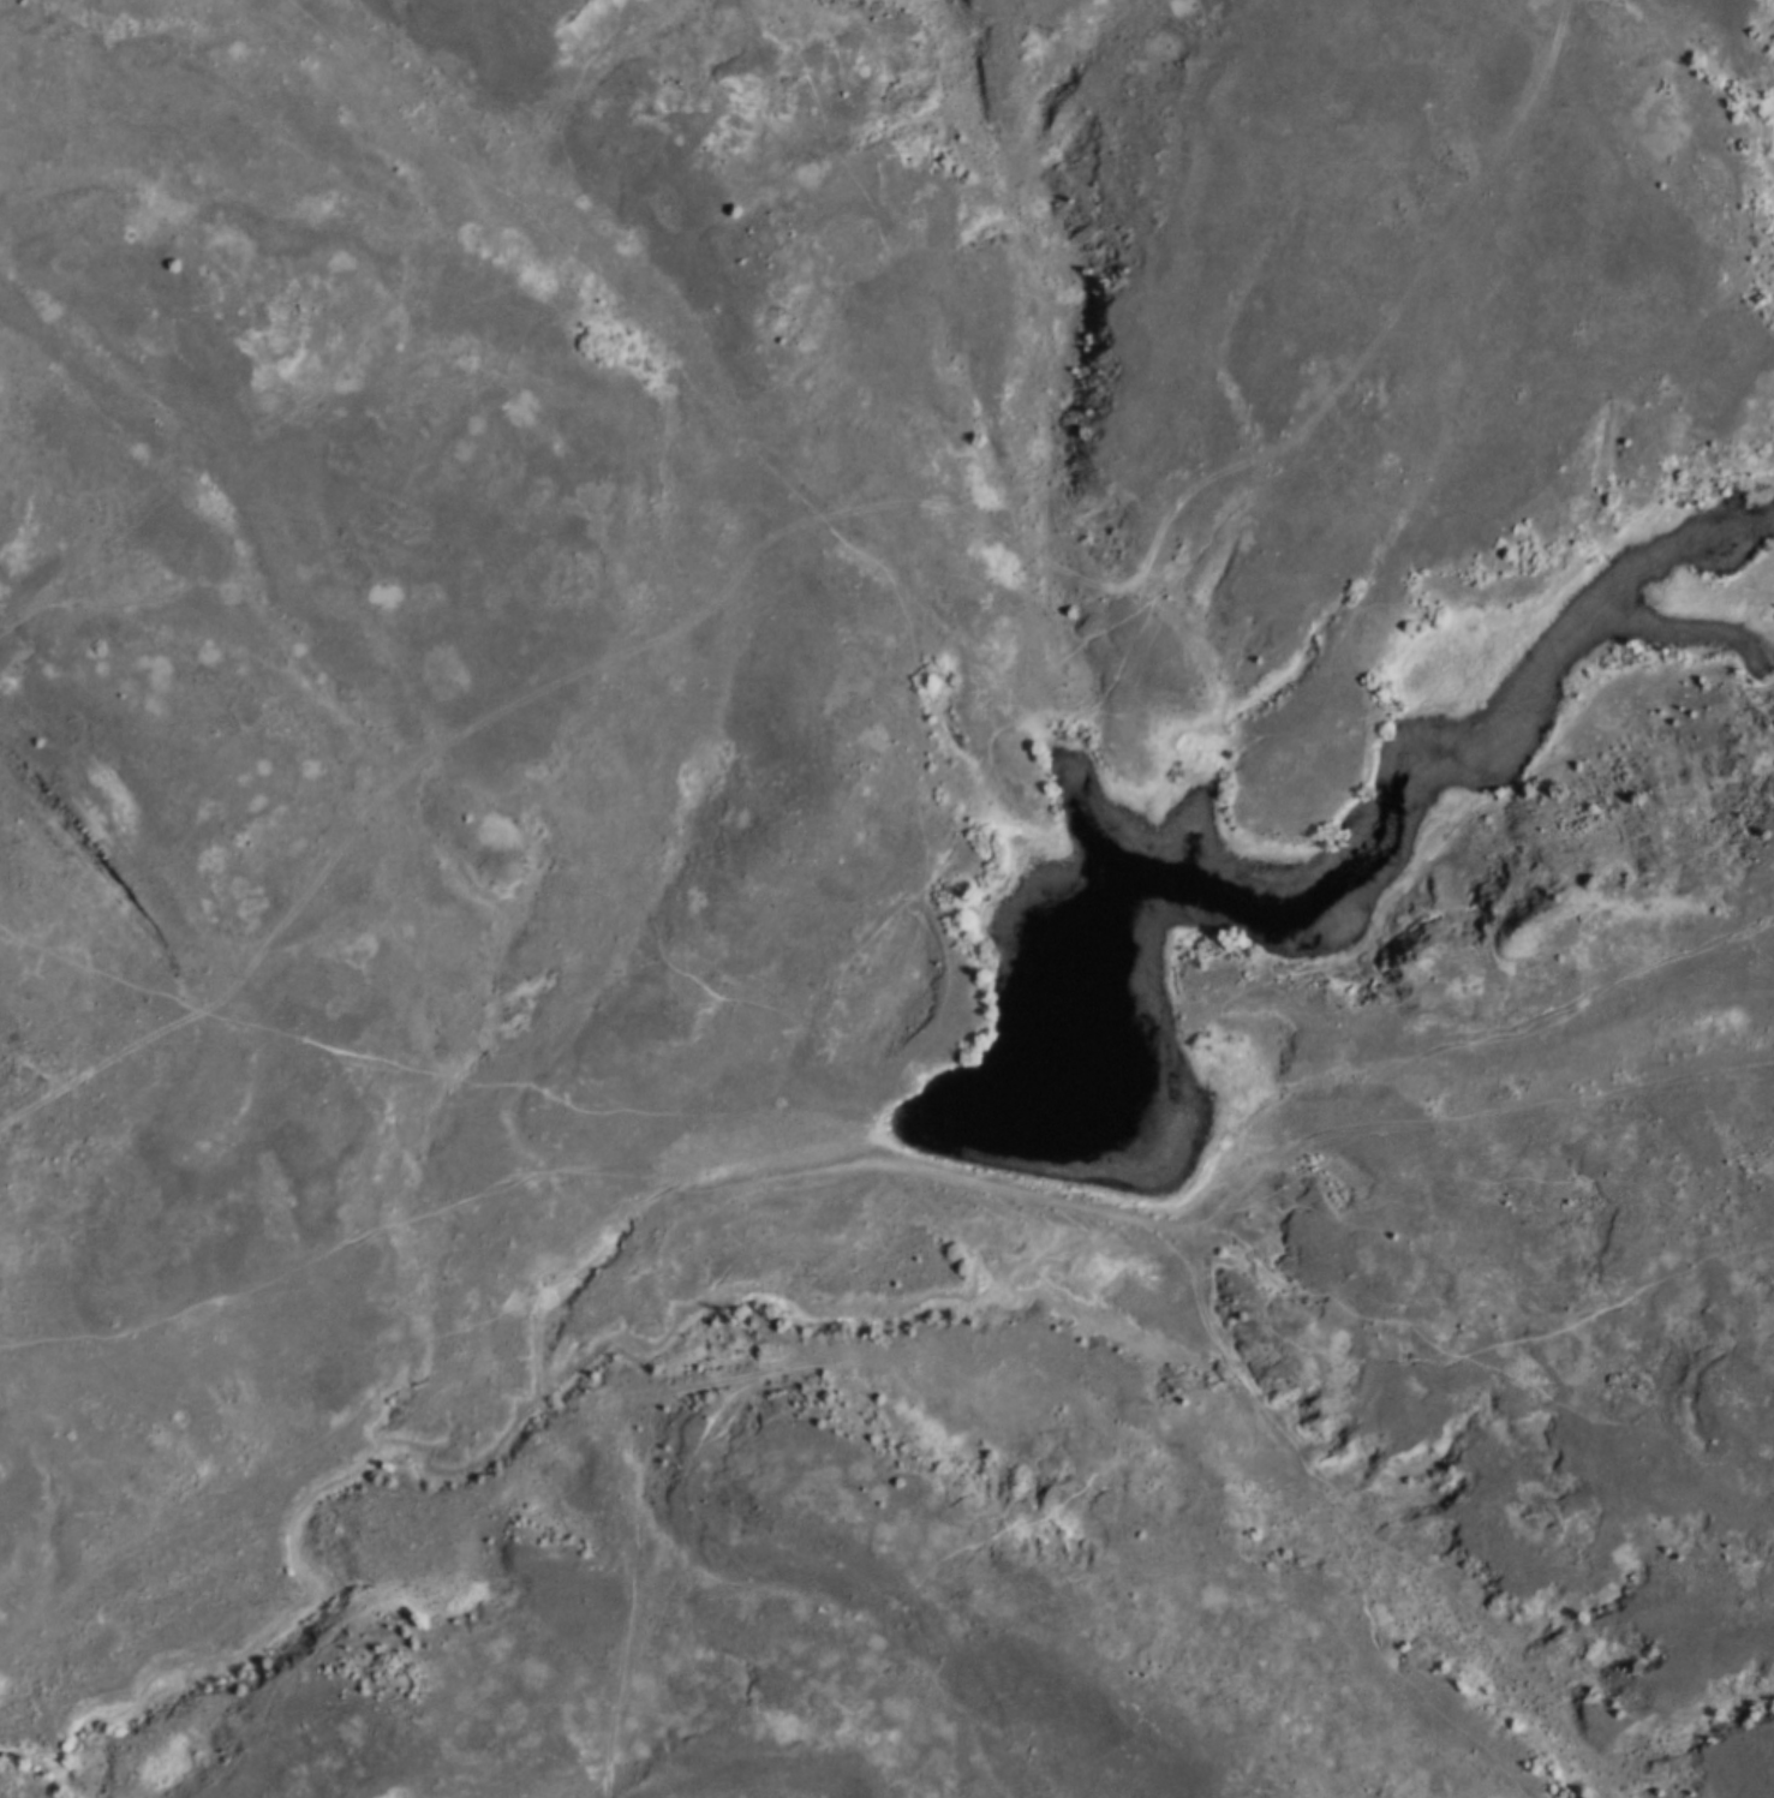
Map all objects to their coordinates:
road: (841, 513)

